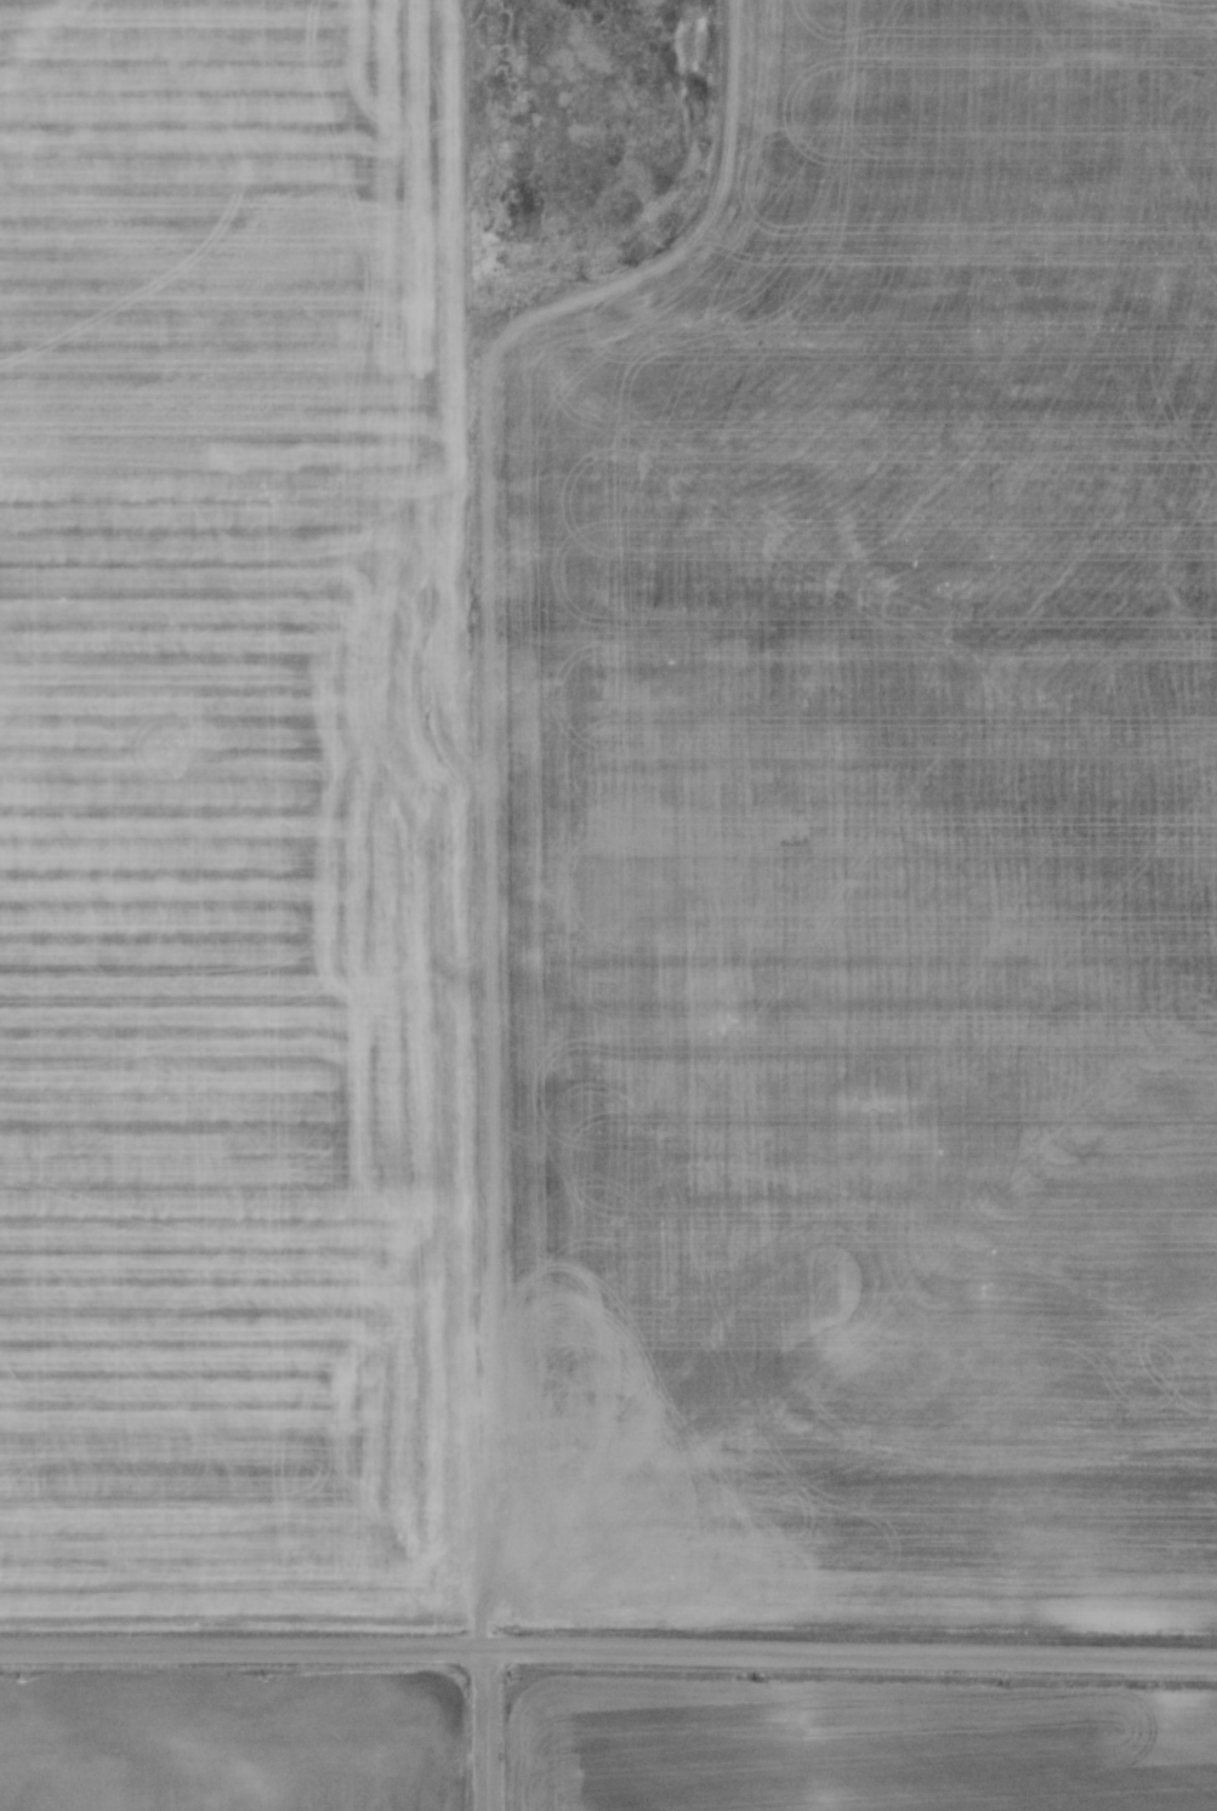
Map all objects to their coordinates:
crop: (609, 815)
road: (608, 1651)
road: (483, 1730)
crop: (227, 1742)
crop: (857, 1743)

